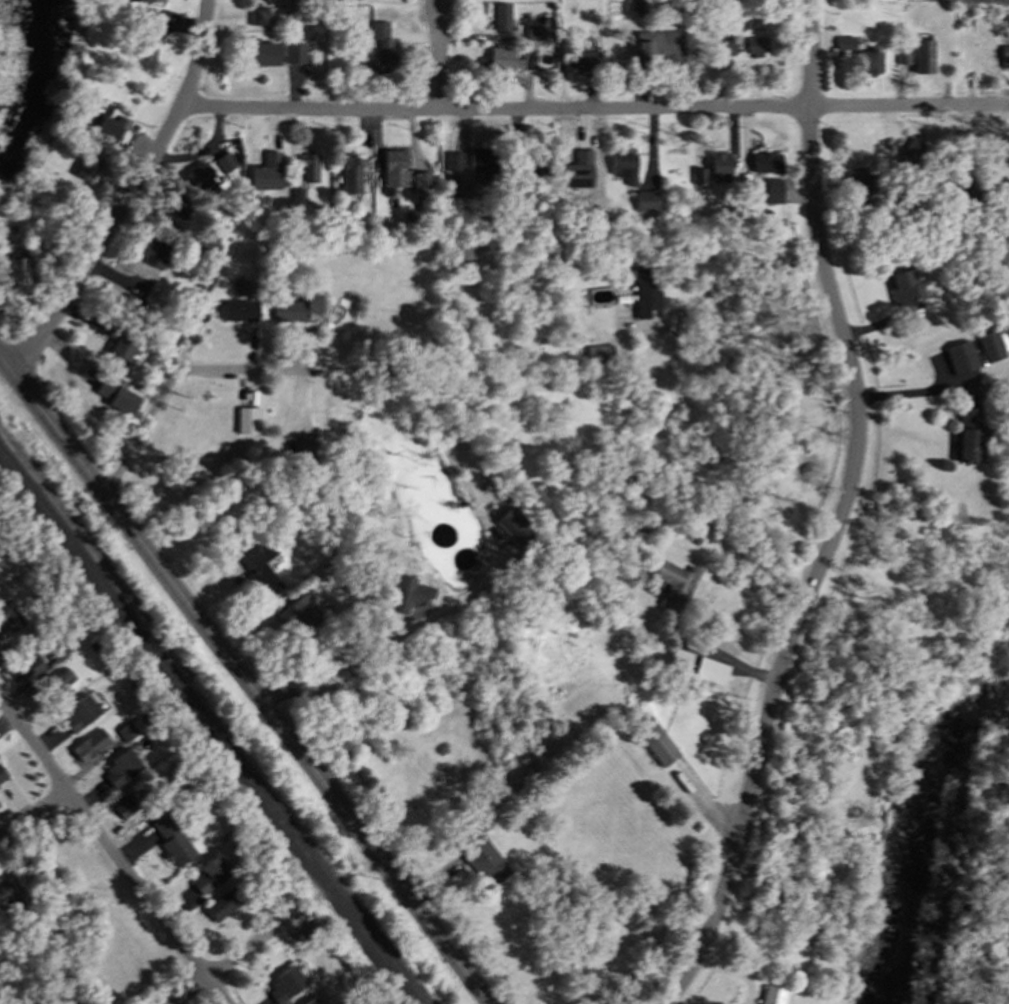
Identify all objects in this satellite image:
building: (149, 0)
road: (437, 1)
building: (292, 5)
building: (256, 14)
building: (498, 15)
building: (1002, 16)
building: (377, 29)
building: (534, 32)
building: (144, 35)
building: (844, 41)
building: (723, 45)
building: (756, 46)
building: (656, 50)
building: (293, 52)
building: (260, 54)
building: (574, 54)
building: (902, 54)
road: (438, 55)
building: (922, 55)
building: (1004, 55)
building: (382, 57)
building: (496, 58)
building: (527, 58)
building: (867, 60)
road: (598, 109)
building: (103, 123)
building: (990, 147)
building: (909, 151)
building: (575, 157)
building: (452, 159)
building: (769, 160)
building: (222, 161)
building: (536, 161)
building: (481, 162)
building: (87, 165)
building: (307, 165)
building: (393, 166)
building: (622, 166)
building: (718, 166)
building: (579, 171)
building: (268, 173)
building: (349, 174)
building: (698, 175)
building: (200, 178)
building: (514, 184)
building: (419, 185)
building: (457, 185)
building: (858, 185)
building: (770, 190)
building: (968, 191)
road: (130, 192)
building: (944, 192)
building: (296, 194)
building: (643, 200)
building: (274, 201)
building: (179, 204)
building: (557, 204)
building: (896, 206)
building: (855, 209)
building: (916, 214)
building: (257, 231)
building: (205, 241)
building: (157, 246)
building: (458, 253)
building: (14, 268)
road: (723, 280)
building: (641, 285)
building: (902, 288)
building: (128, 302)
building: (294, 308)
building: (237, 309)
building: (116, 337)
building: (987, 345)
road: (70, 352)
building: (597, 354)
building: (958, 356)
road: (911, 394)
building: (114, 396)
road: (153, 403)
building: (245, 419)
building: (968, 433)
building: (301, 445)
building: (511, 445)
road: (254, 485)
road: (838, 514)
building: (514, 529)
building: (256, 565)
building: (1, 567)
building: (674, 582)
building: (602, 594)
building: (402, 596)
building: (274, 605)
building: (299, 613)
building: (9, 616)
road: (378, 645)
building: (63, 646)
road: (731, 656)
building: (679, 657)
building: (98, 661)
building: (27, 668)
building: (709, 669)
road: (246, 678)
building: (55, 684)
building: (64, 691)
building: (79, 711)
building: (133, 718)
railway: (208, 725)
building: (125, 727)
building: (629, 736)
building: (654, 739)
building: (84, 745)
building: (120, 766)
building: (1, 774)
building: (552, 782)
building: (170, 785)
building: (127, 804)
road: (32, 813)
building: (788, 826)
building: (171, 839)
road: (113, 855)
building: (483, 858)
building: (30, 866)
building: (208, 873)
building: (9, 890)
building: (224, 903)
building: (322, 940)
road: (242, 949)
building: (284, 982)
building: (1, 994)
building: (769, 995)
building: (309, 1000)
building: (61, 1002)

